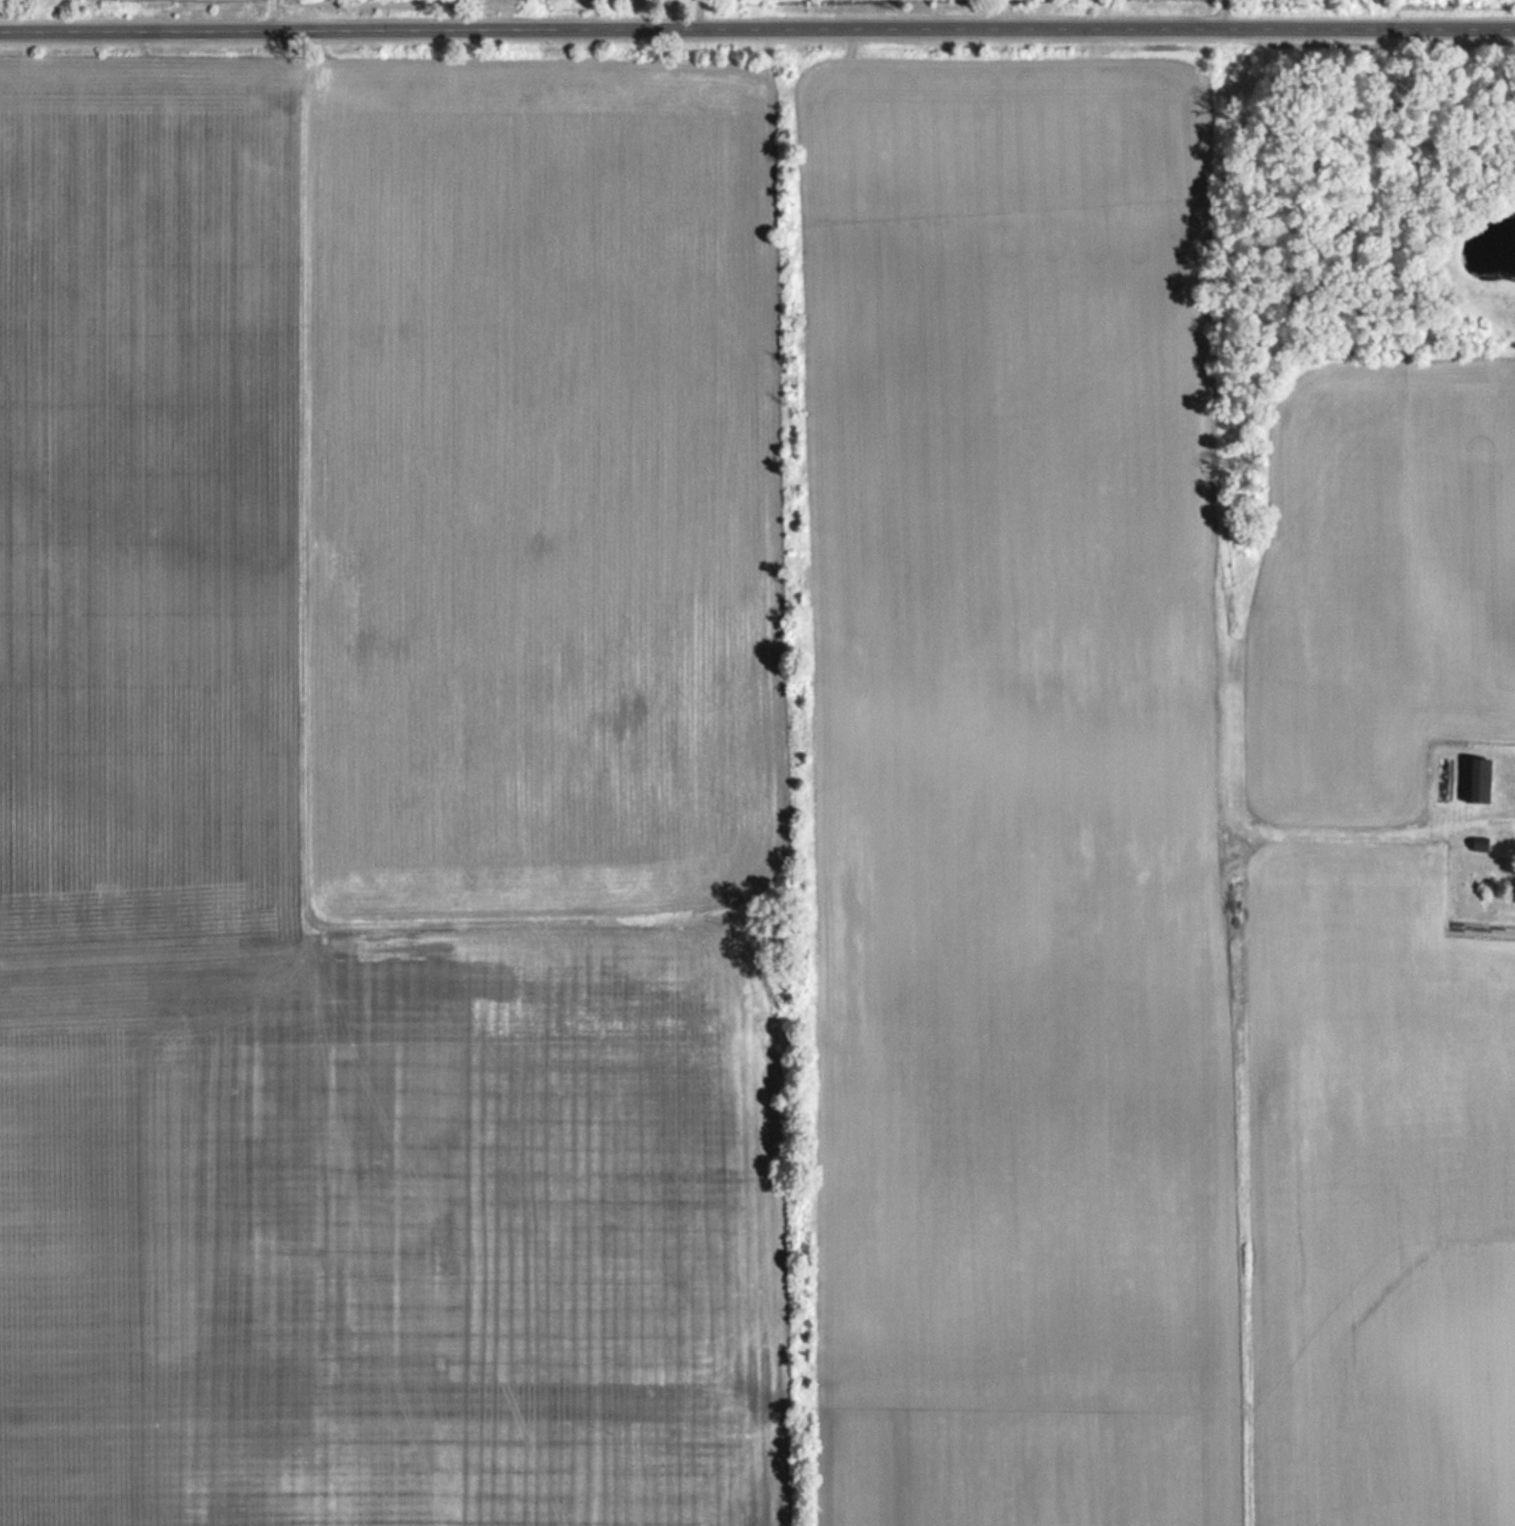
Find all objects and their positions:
road: (757, 29)

